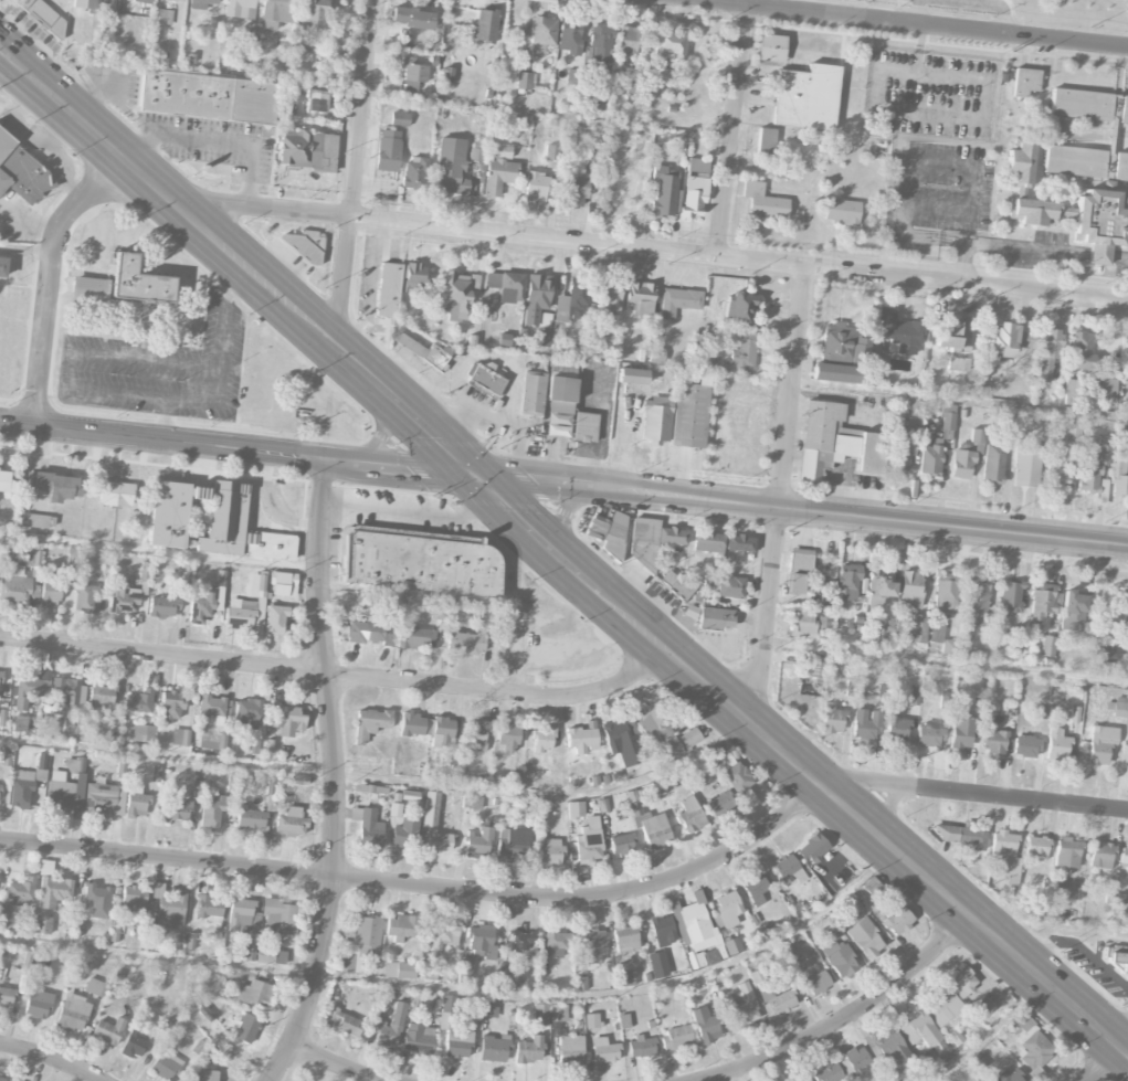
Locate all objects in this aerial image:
building: (177, 0)
building: (143, 1)
road: (997, 2)
building: (85, 3)
building: (201, 3)
road: (990, 3)
road: (802, 6)
road: (841, 8)
building: (240, 9)
road: (917, 12)
building: (275, 13)
parking lot: (959, 14)
building: (42, 15)
building: (313, 15)
building: (162, 17)
building: (412, 18)
road: (911, 23)
building: (484, 27)
building: (542, 31)
building: (569, 38)
building: (625, 41)
building: (670, 47)
building: (770, 49)
building: (601, 50)
building: (538, 51)
building: (412, 73)
building: (524, 81)
building: (1025, 82)
building: (208, 96)
building: (807, 97)
building: (598, 100)
building: (315, 102)
building: (1088, 105)
road: (923, 115)
building: (400, 119)
road: (732, 131)
road: (215, 140)
building: (766, 141)
building: (308, 150)
building: (388, 150)
building: (500, 150)
building: (476, 151)
building: (551, 152)
road: (123, 156)
building: (1086, 162)
building: (1020, 165)
building: (451, 167)
road: (352, 170)
building: (22, 172)
building: (415, 173)
road: (908, 173)
building: (498, 176)
building: (535, 187)
building: (574, 190)
building: (664, 191)
building: (694, 198)
building: (763, 202)
building: (1033, 211)
building: (842, 212)
building: (1101, 218)
building: (308, 235)
road: (918, 236)
building: (301, 246)
road: (25, 250)
road: (657, 251)
road: (1046, 251)
road: (963, 257)
building: (2, 265)
building: (412, 276)
road: (49, 277)
building: (138, 282)
building: (512, 287)
building: (89, 290)
building: (388, 290)
building: (538, 292)
building: (456, 294)
building: (610, 297)
building: (641, 297)
building: (678, 301)
building: (739, 308)
road: (225, 314)
building: (542, 329)
building: (899, 331)
building: (953, 336)
building: (507, 340)
building: (1009, 340)
building: (837, 341)
building: (1082, 351)
road: (80, 352)
building: (745, 352)
building: (1048, 352)
building: (435, 356)
building: (656, 356)
building: (835, 373)
building: (632, 377)
building: (487, 378)
building: (1108, 386)
building: (561, 389)
road: (177, 391)
building: (533, 392)
building: (1072, 392)
road: (960, 399)
building: (689, 412)
building: (559, 413)
building: (946, 418)
building: (655, 420)
road: (425, 425)
building: (584, 426)
building: (978, 436)
building: (835, 443)
road: (240, 448)
building: (900, 453)
building: (930, 456)
building: (993, 462)
building: (962, 464)
building: (1094, 464)
building: (1026, 466)
building: (1056, 468)
building: (1118, 475)
traffic signals: (482, 476)
building: (6, 481)
building: (54, 486)
building: (200, 492)
building: (115, 494)
road: (781, 494)
road: (804, 511)
road: (425, 512)
building: (168, 515)
building: (35, 520)
building: (609, 524)
building: (239, 528)
building: (651, 540)
building: (707, 541)
building: (739, 543)
road: (160, 550)
building: (32, 558)
building: (419, 563)
building: (799, 571)
building: (711, 580)
building: (847, 581)
building: (284, 584)
building: (677, 584)
building: (18, 585)
building: (257, 585)
building: (731, 586)
building: (879, 586)
building: (911, 589)
building: (943, 593)
building: (50, 595)
building: (1010, 596)
building: (84, 598)
building: (976, 601)
building: (367, 602)
road: (560, 604)
building: (1042, 604)
building: (203, 605)
road: (621, 606)
building: (162, 607)
road: (518, 610)
building: (1073, 611)
building: (1126, 611)
building: (240, 613)
building: (488, 616)
building: (275, 618)
building: (715, 619)
building: (802, 624)
building: (918, 628)
building: (369, 633)
building: (937, 633)
building: (415, 638)
building: (465, 643)
road: (579, 644)
building: (1047, 646)
road: (947, 661)
building: (816, 667)
road: (340, 676)
building: (1, 677)
building: (29, 690)
building: (66, 695)
building: (102, 696)
building: (910, 696)
building: (946, 699)
building: (139, 701)
building: (171, 704)
building: (1120, 707)
building: (246, 711)
building: (286, 719)
building: (832, 719)
building: (210, 721)
building: (653, 721)
building: (19, 723)
building: (370, 723)
building: (70, 724)
building: (414, 724)
building: (865, 724)
building: (896, 728)
building: (443, 732)
building: (961, 732)
building: (143, 733)
building: (477, 735)
building: (930, 735)
building: (180, 736)
building: (508, 736)
building: (581, 738)
building: (542, 740)
building: (993, 741)
building: (623, 743)
building: (1057, 744)
building: (1100, 745)
building: (676, 746)
building: (1025, 746)
building: (4, 766)
building: (41, 766)
building: (730, 770)
road: (337, 775)
road: (381, 780)
building: (514, 780)
building: (302, 781)
building: (232, 782)
building: (272, 786)
building: (21, 787)
building: (60, 792)
road: (980, 794)
building: (105, 798)
building: (136, 799)
building: (472, 801)
building: (720, 804)
building: (576, 809)
building: (175, 810)
building: (212, 812)
building: (690, 814)
building: (251, 819)
building: (291, 822)
building: (650, 825)
building: (434, 826)
building: (368, 827)
building: (405, 833)
road: (884, 838)
building: (962, 838)
building: (589, 841)
building: (478, 844)
building: (622, 844)
building: (513, 845)
building: (813, 848)
building: (548, 849)
building: (1035, 849)
building: (1067, 852)
building: (1004, 856)
building: (1101, 856)
building: (1125, 857)
building: (787, 868)
road: (425, 887)
building: (21, 890)
building: (756, 890)
building: (1072, 890)
building: (54, 891)
building: (133, 900)
building: (97, 901)
building: (209, 907)
building: (169, 908)
building: (727, 910)
building: (240, 915)
building: (4, 916)
building: (280, 916)
building: (898, 921)
building: (42, 924)
building: (401, 928)
building: (663, 930)
building: (697, 930)
road: (1082, 931)
building: (444, 935)
building: (865, 937)
building: (625, 939)
building: (482, 941)
building: (520, 941)
building: (360, 943)
building: (557, 944)
building: (593, 946)
building: (721, 951)
building: (271, 954)
building: (1117, 956)
building: (840, 960)
building: (658, 964)
building: (503, 967)
building: (400, 969)
building: (465, 969)
building: (428, 973)
building: (624, 978)
building: (506, 982)
building: (962, 982)
building: (816, 983)
building: (580, 984)
building: (95, 987)
road: (465, 988)
building: (255, 994)
building: (7, 997)
building: (386, 1000)
building: (38, 1004)
building: (942, 1005)
building: (983, 1007)
building: (488, 1008)
building: (745, 1011)
building: (73, 1013)
building: (558, 1014)
building: (540, 1015)
road: (848, 1017)
building: (591, 1020)
building: (624, 1021)
building: (345, 1022)
building: (706, 1025)
building: (390, 1027)
building: (245, 1028)
building: (453, 1029)
building: (920, 1030)
building: (108, 1031)
road: (989, 1034)
building: (419, 1038)
building: (676, 1038)
building: (1031, 1041)
building: (134, 1047)
building: (642, 1047)
building: (890, 1047)
building: (494, 1048)
building: (530, 1049)
building: (571, 1050)
building: (604, 1050)
road: (51, 1058)
building: (857, 1059)
road: (1106, 1064)
building: (166, 1066)
road: (338, 1066)
building: (829, 1073)
building: (202, 1075)
building: (899, 1075)
building: (1008, 1075)
building: (7, 1079)
building: (803, 1080)

